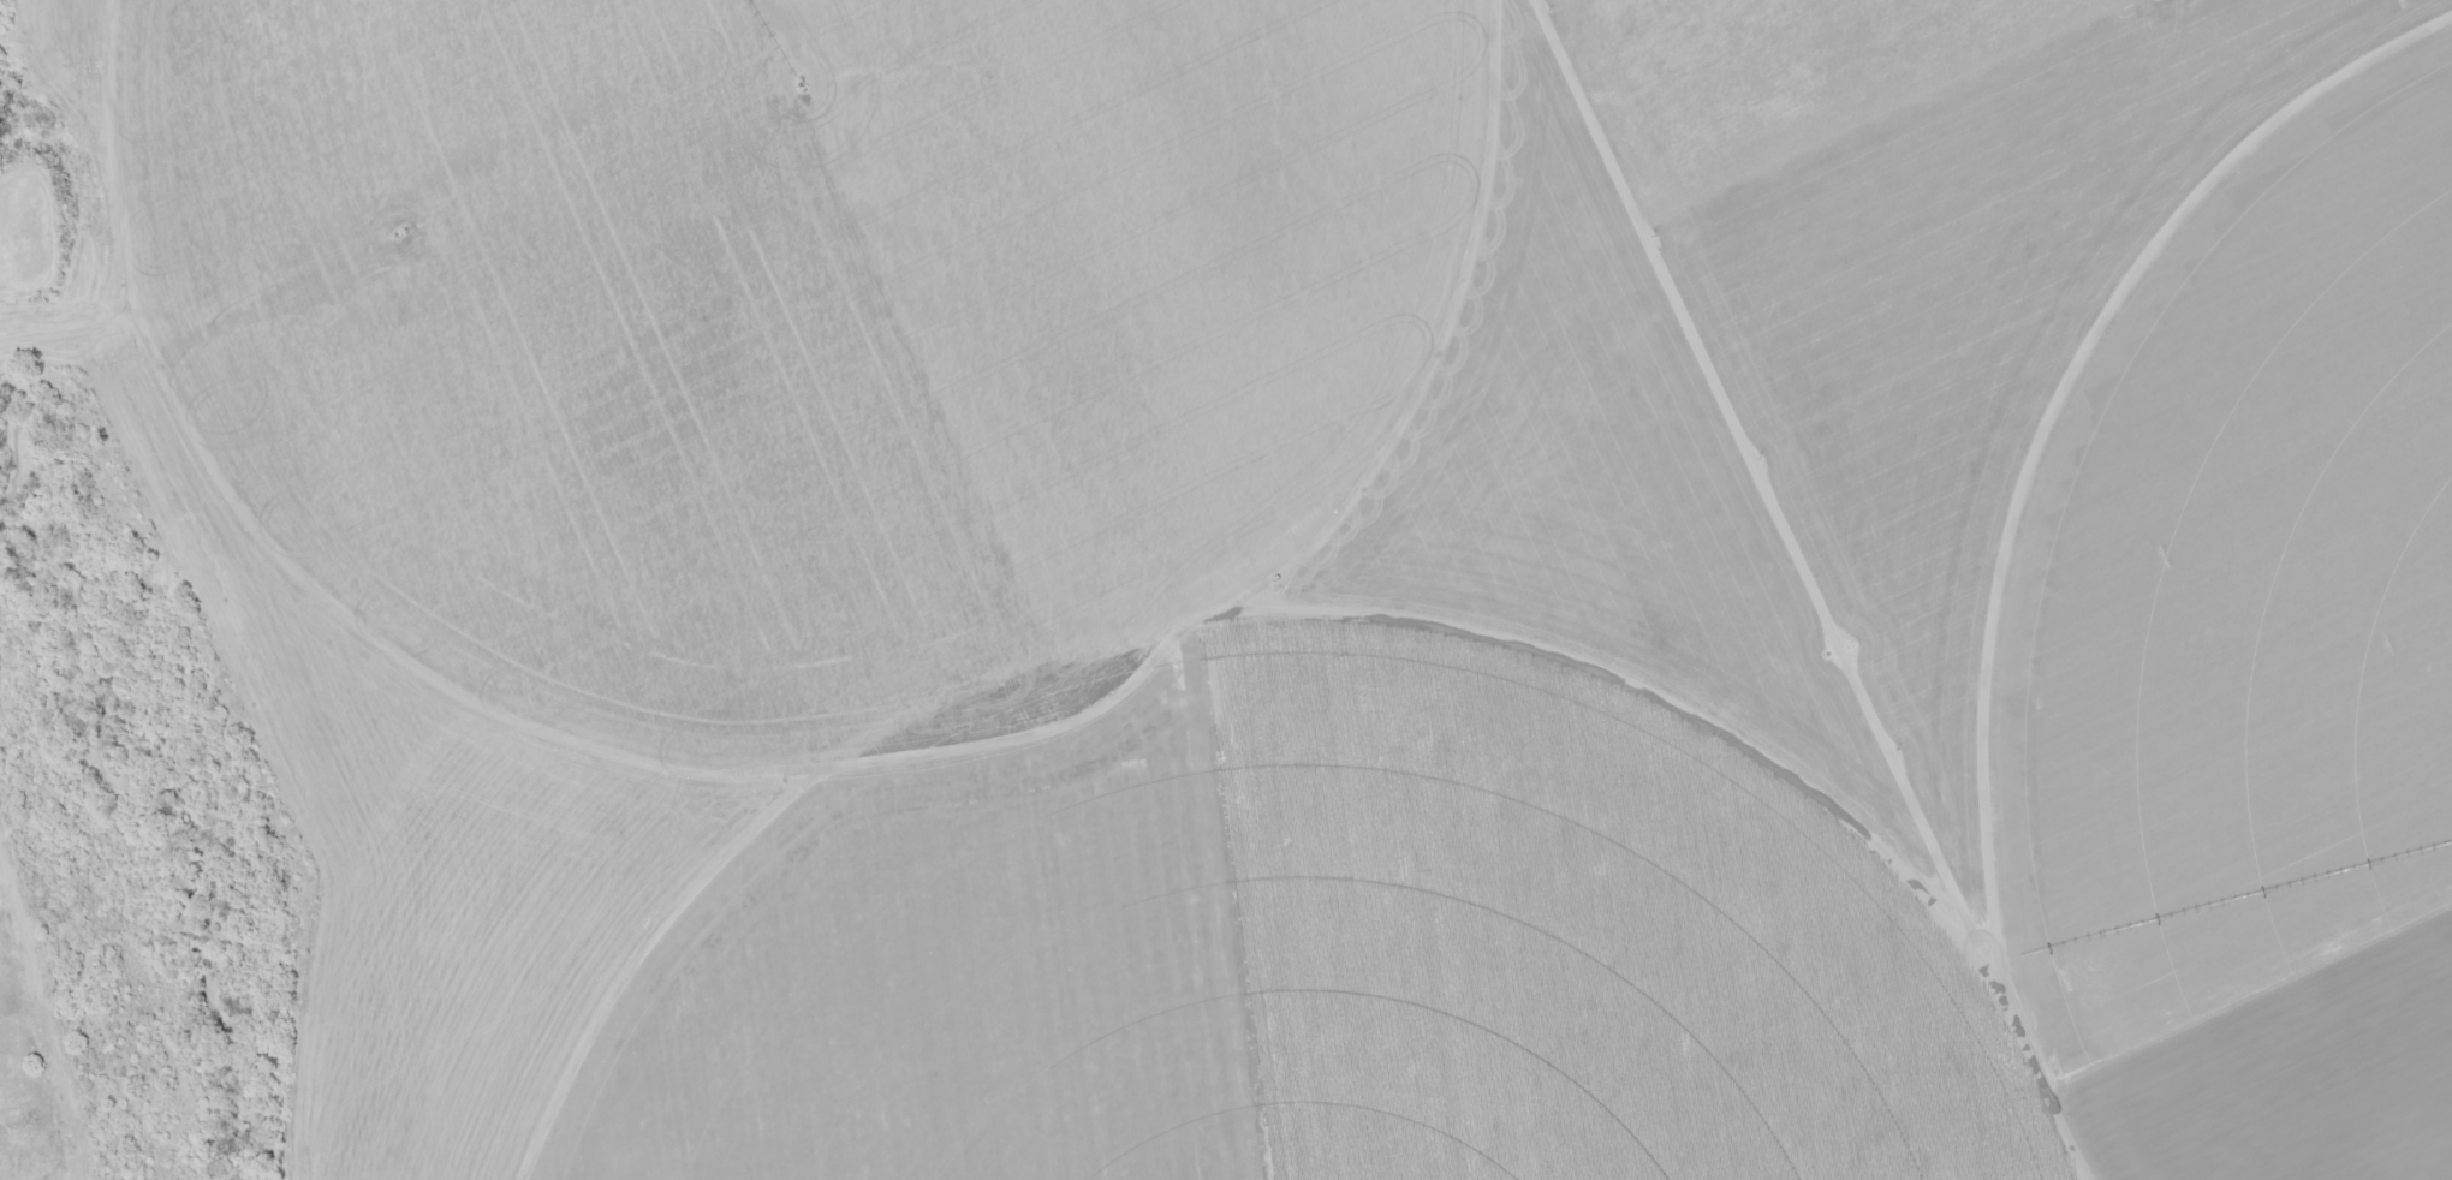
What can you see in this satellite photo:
road: (444, 198)

